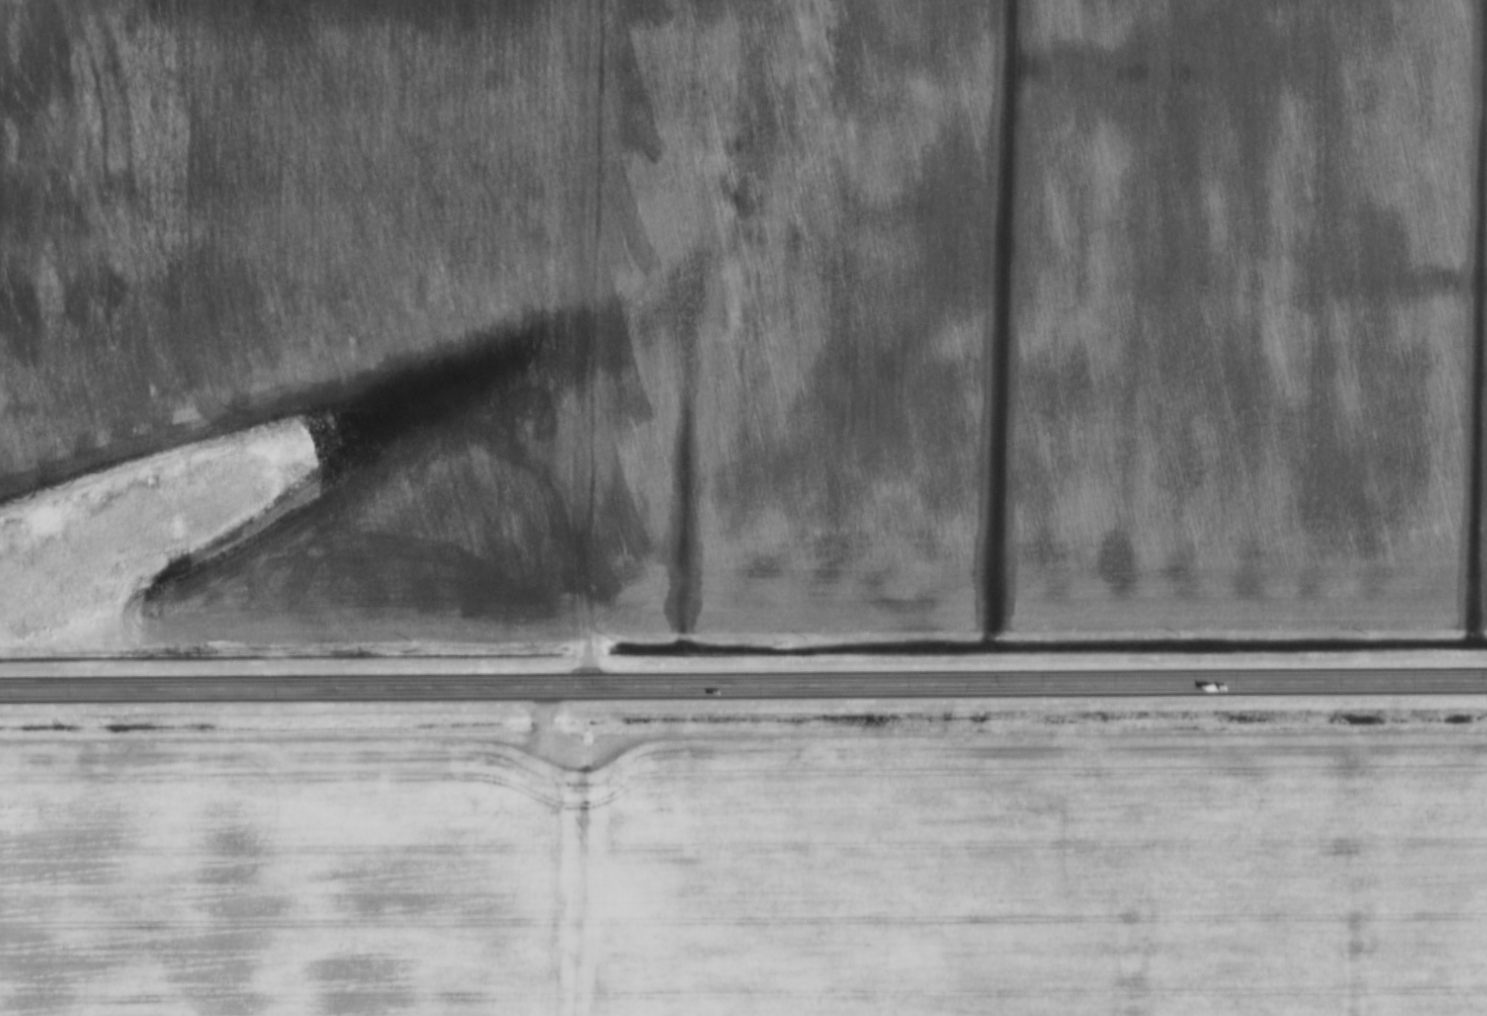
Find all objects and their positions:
crop: (312, 285)
crop: (1037, 316)
road: (743, 686)
crop: (750, 876)

